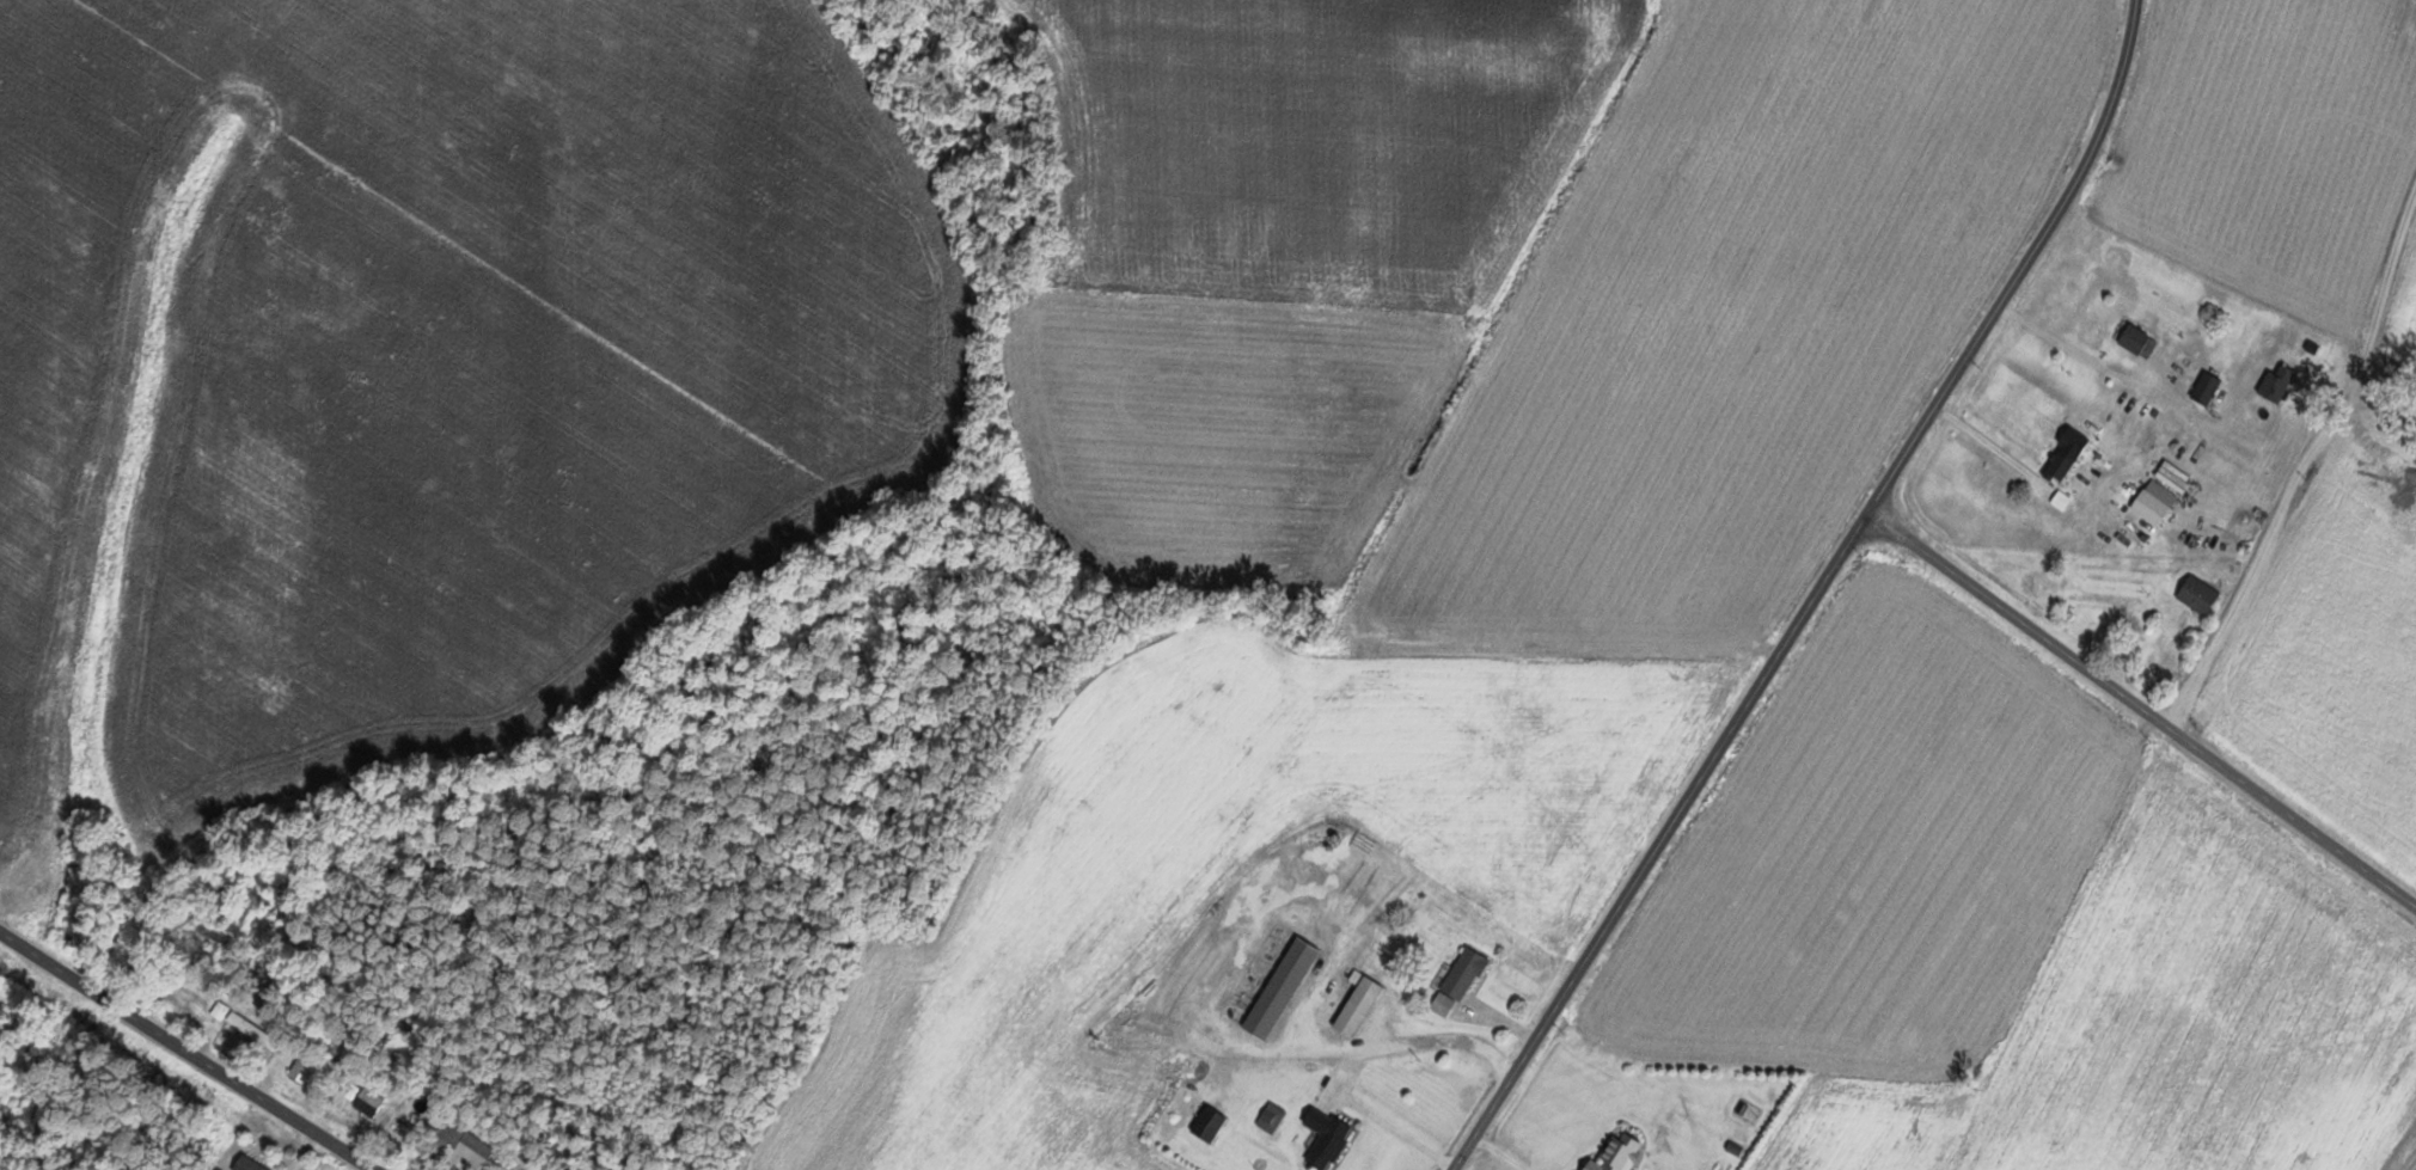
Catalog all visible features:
building: (2139, 342)
building: (2207, 388)
building: (2054, 468)
road: (2264, 533)
building: (2044, 582)
road: (1812, 593)
building: (2200, 595)
road: (2141, 704)
building: (1458, 984)
building: (1282, 990)
building: (1358, 1005)
road: (194, 1045)
building: (305, 1066)
building: (372, 1102)
building: (1271, 1117)
building: (1327, 1137)
building: (465, 1145)
building: (249, 1164)
building: (1658, 1166)

